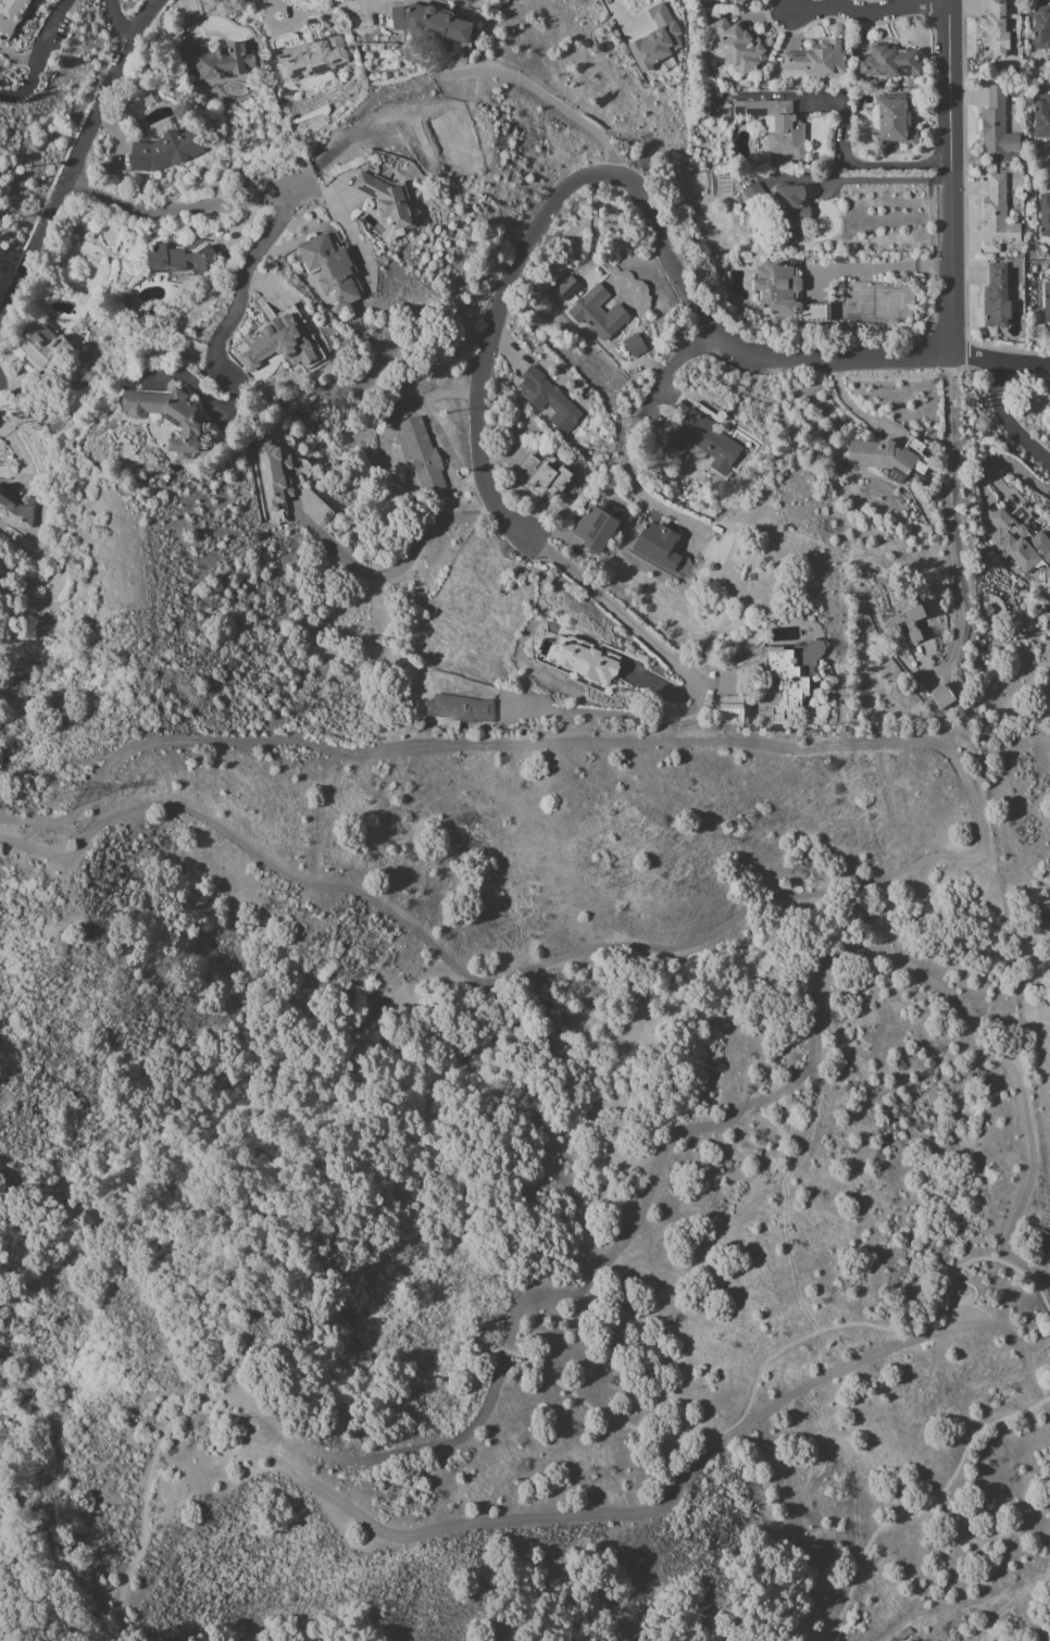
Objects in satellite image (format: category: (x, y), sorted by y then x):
road: (608, 0)
building: (739, 1)
road: (353, 8)
road: (867, 11)
building: (12, 17)
building: (434, 25)
road: (115, 26)
building: (1042, 28)
building: (998, 32)
building: (660, 40)
building: (740, 47)
road: (39, 57)
building: (315, 59)
building: (821, 61)
building: (222, 62)
building: (891, 64)
road: (949, 78)
road: (543, 92)
building: (1042, 117)
building: (899, 120)
building: (1000, 125)
building: (779, 130)
road: (350, 134)
building: (168, 153)
road: (850, 161)
road: (72, 163)
road: (891, 178)
building: (758, 196)
building: (388, 201)
road: (180, 210)
road: (948, 210)
building: (795, 212)
building: (1046, 216)
building: (1000, 217)
road: (343, 223)
road: (671, 256)
building: (182, 261)
building: (333, 272)
building: (571, 289)
building: (789, 296)
building: (999, 298)
building: (1048, 302)
road: (948, 309)
building: (601, 314)
road: (229, 315)
building: (282, 346)
building: (637, 347)
building: (48, 349)
road: (853, 359)
road: (971, 361)
road: (487, 363)
road: (672, 364)
road: (1022, 366)
building: (555, 396)
road: (851, 407)
building: (171, 419)
road: (1007, 422)
building: (114, 427)
building: (704, 444)
building: (424, 457)
building: (885, 459)
building: (273, 473)
building: (551, 475)
road: (629, 482)
road: (947, 506)
building: (17, 512)
building: (598, 531)
building: (1022, 544)
building: (661, 547)
road: (403, 560)
road: (611, 610)
building: (990, 611)
building: (1049, 611)
building: (910, 618)
building: (591, 664)
building: (780, 680)
building: (946, 698)
building: (461, 710)
building: (734, 711)
road: (625, 716)
road: (171, 738)
power tower: (49, 795)
power tower: (1043, 1222)
road: (483, 1357)
road: (922, 1503)
road: (1008, 1606)

